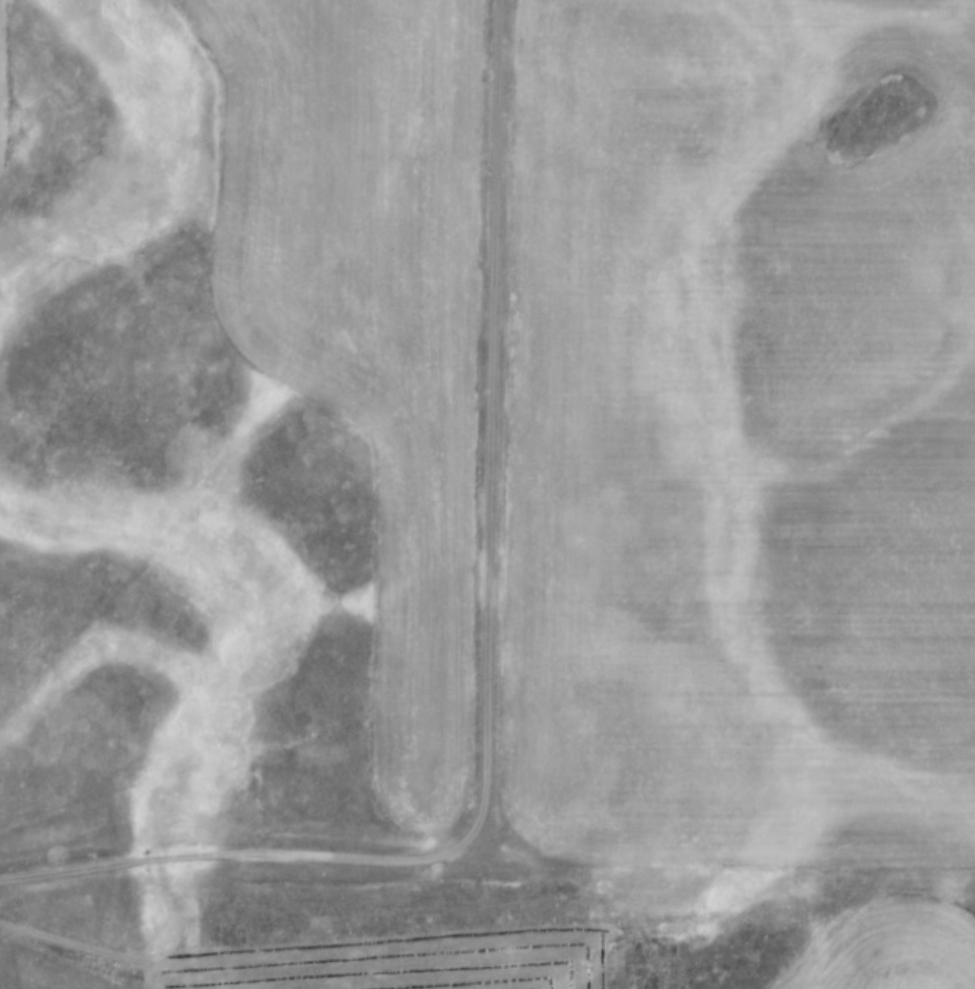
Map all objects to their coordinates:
road: (486, 661)

